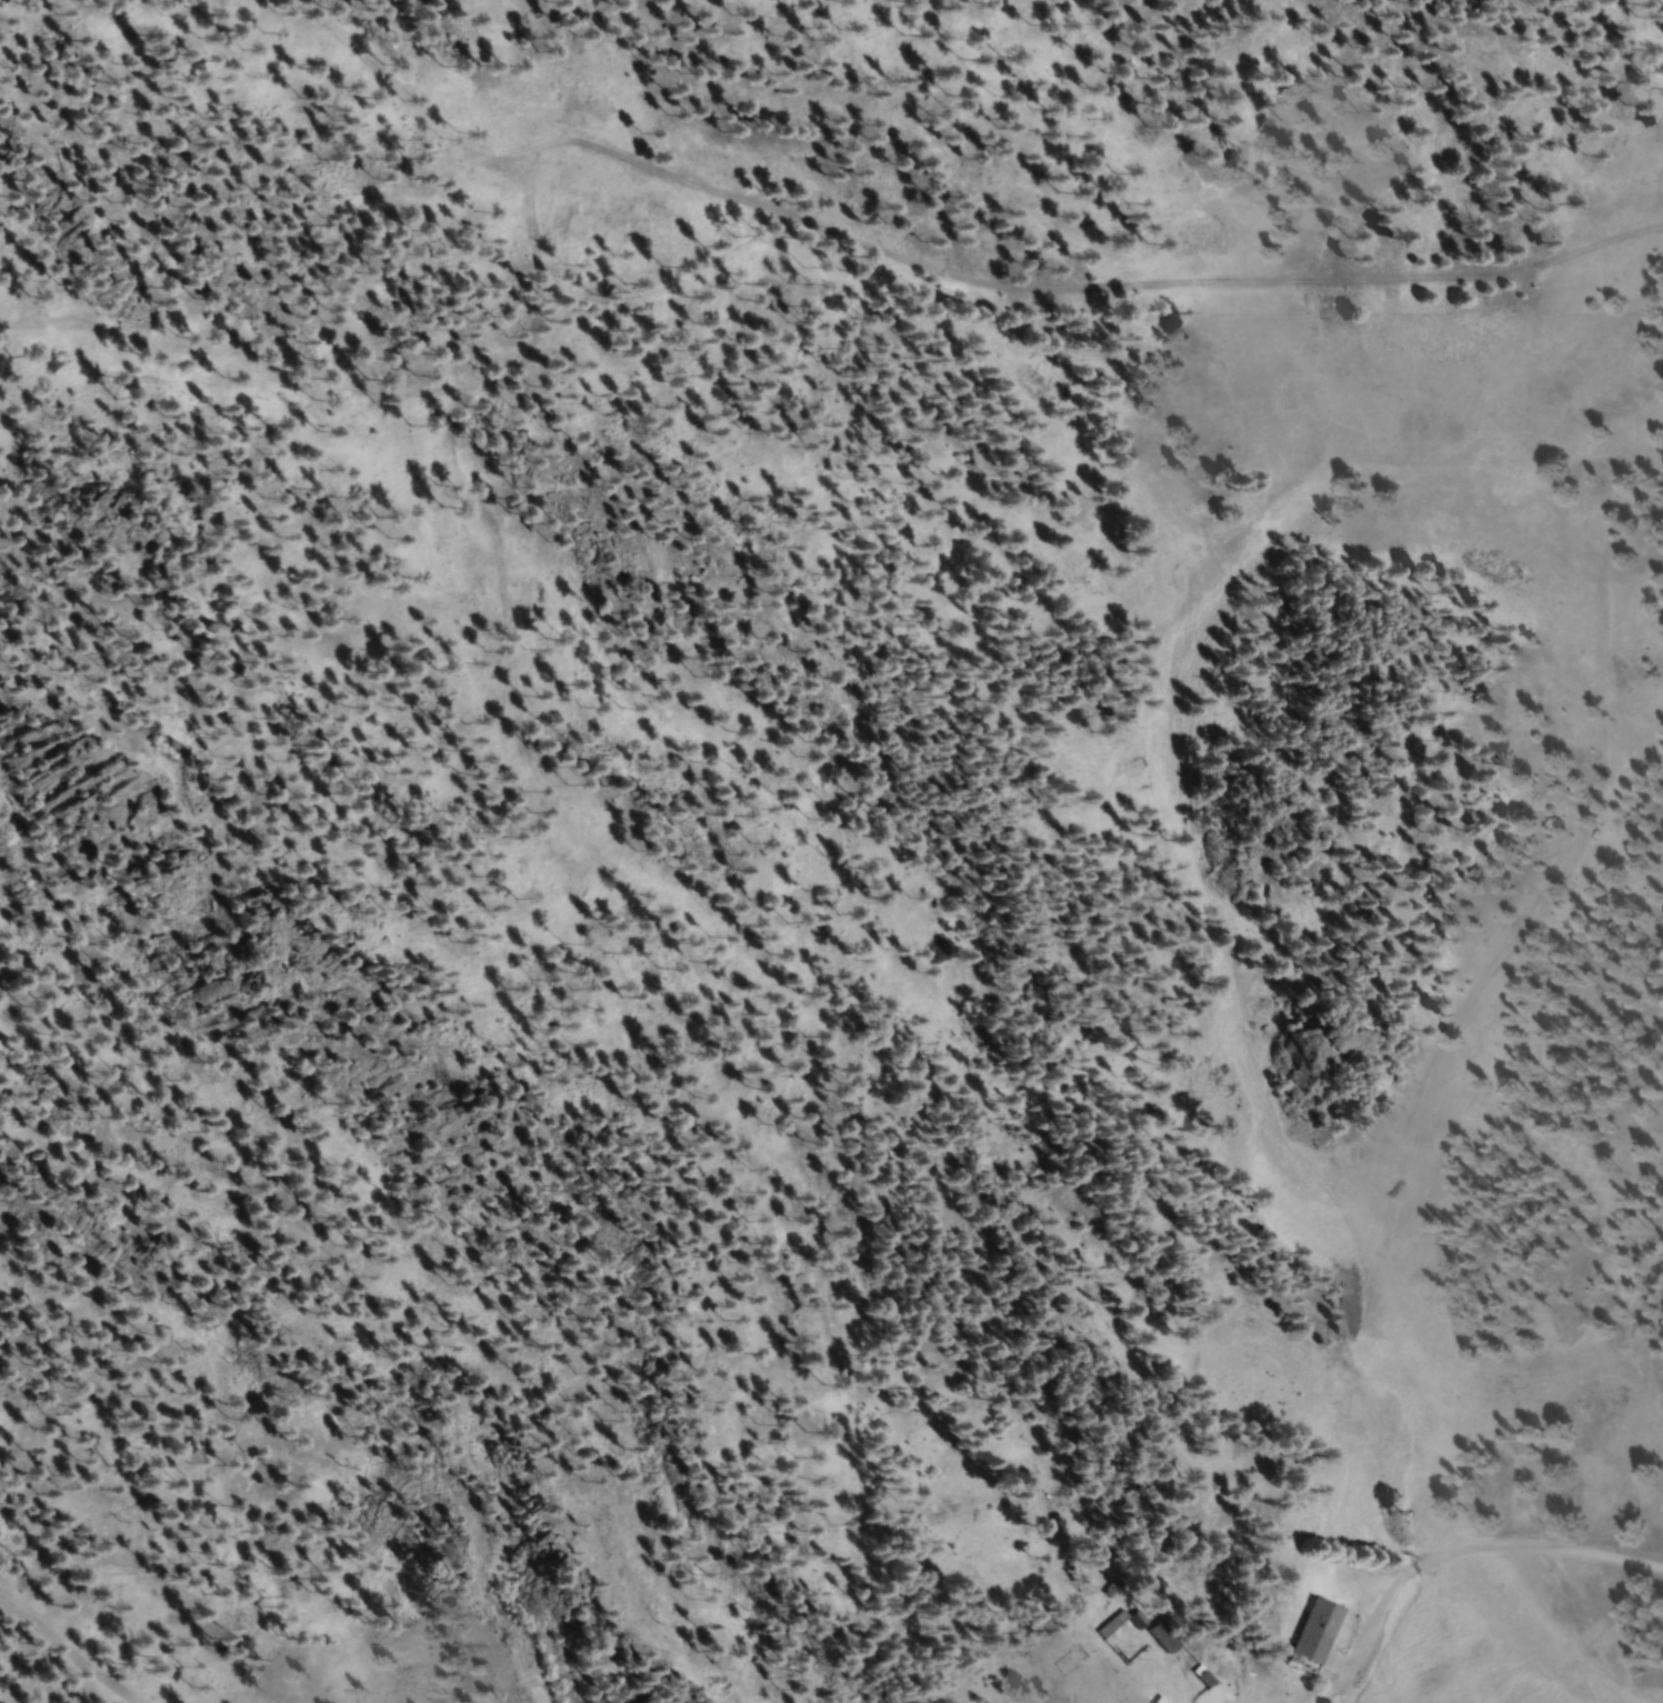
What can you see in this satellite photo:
road: (944, 266)
road: (1561, 1544)
building: (1315, 1635)
building: (1166, 1640)
road: (69, 1650)

